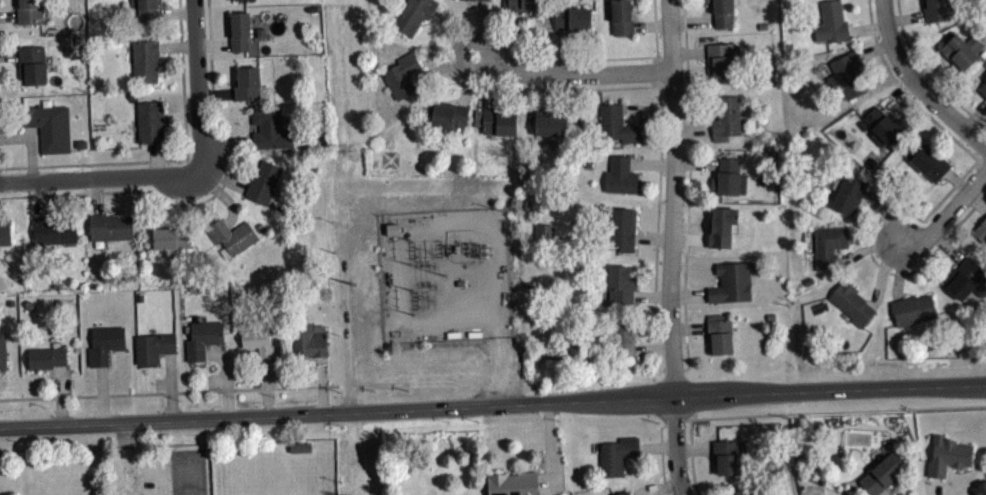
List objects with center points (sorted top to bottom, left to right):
building: (247, 2)
building: (471, 2)
building: (521, 4)
building: (146, 9)
building: (935, 9)
building: (31, 10)
building: (723, 12)
building: (414, 14)
building: (622, 16)
building: (575, 18)
building: (831, 21)
building: (240, 29)
building: (960, 48)
building: (722, 57)
building: (145, 59)
building: (34, 63)
road: (521, 71)
building: (401, 73)
building: (847, 73)
building: (247, 82)
road: (916, 84)
road: (198, 86)
building: (983, 86)
building: (983, 93)
building: (448, 115)
road: (975, 115)
building: (727, 116)
building: (496, 119)
building: (150, 120)
road: (980, 121)
building: (617, 122)
building: (551, 123)
building: (48, 125)
building: (879, 125)
building: (270, 128)
road: (979, 146)
power tower: (343, 154)
building: (928, 159)
building: (621, 174)
building: (726, 175)
road: (96, 178)
building: (264, 181)
building: (849, 192)
road: (982, 196)
road: (671, 197)
road: (977, 199)
road: (948, 213)
building: (110, 225)
building: (53, 228)
building: (622, 228)
building: (980, 229)
building: (5, 230)
building: (232, 234)
building: (171, 236)
building: (547, 238)
building: (829, 244)
power substation: (447, 276)
building: (966, 278)
building: (732, 279)
building: (620, 283)
power tower: (350, 287)
building: (851, 301)
building: (913, 308)
building: (719, 332)
building: (624, 336)
building: (204, 337)
building: (308, 337)
building: (259, 340)
building: (105, 342)
building: (153, 345)
building: (3, 350)
building: (46, 356)
road: (500, 371)
road: (169, 392)
road: (493, 404)
road: (835, 411)
road: (676, 445)
building: (300, 447)
road: (661, 448)
road: (551, 449)
building: (303, 453)
building: (617, 454)
building: (948, 454)
building: (726, 455)
road: (690, 457)
building: (883, 471)
park: (189, 478)
building: (513, 482)
building: (980, 487)
building: (738, 491)
building: (621, 492)

